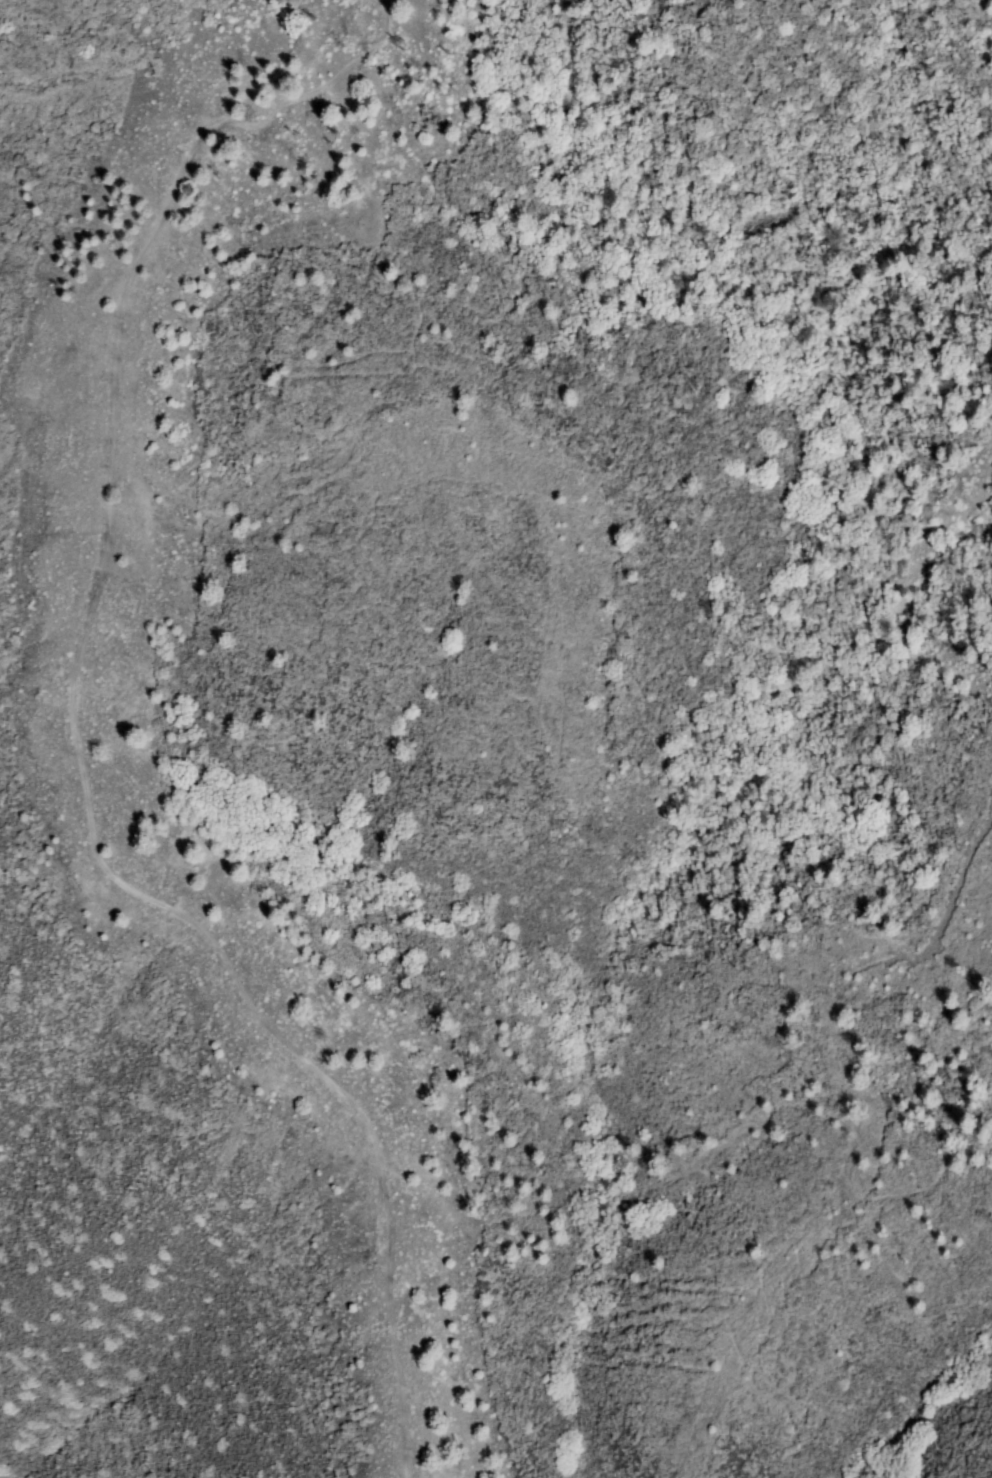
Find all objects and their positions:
road: (961, 900)

